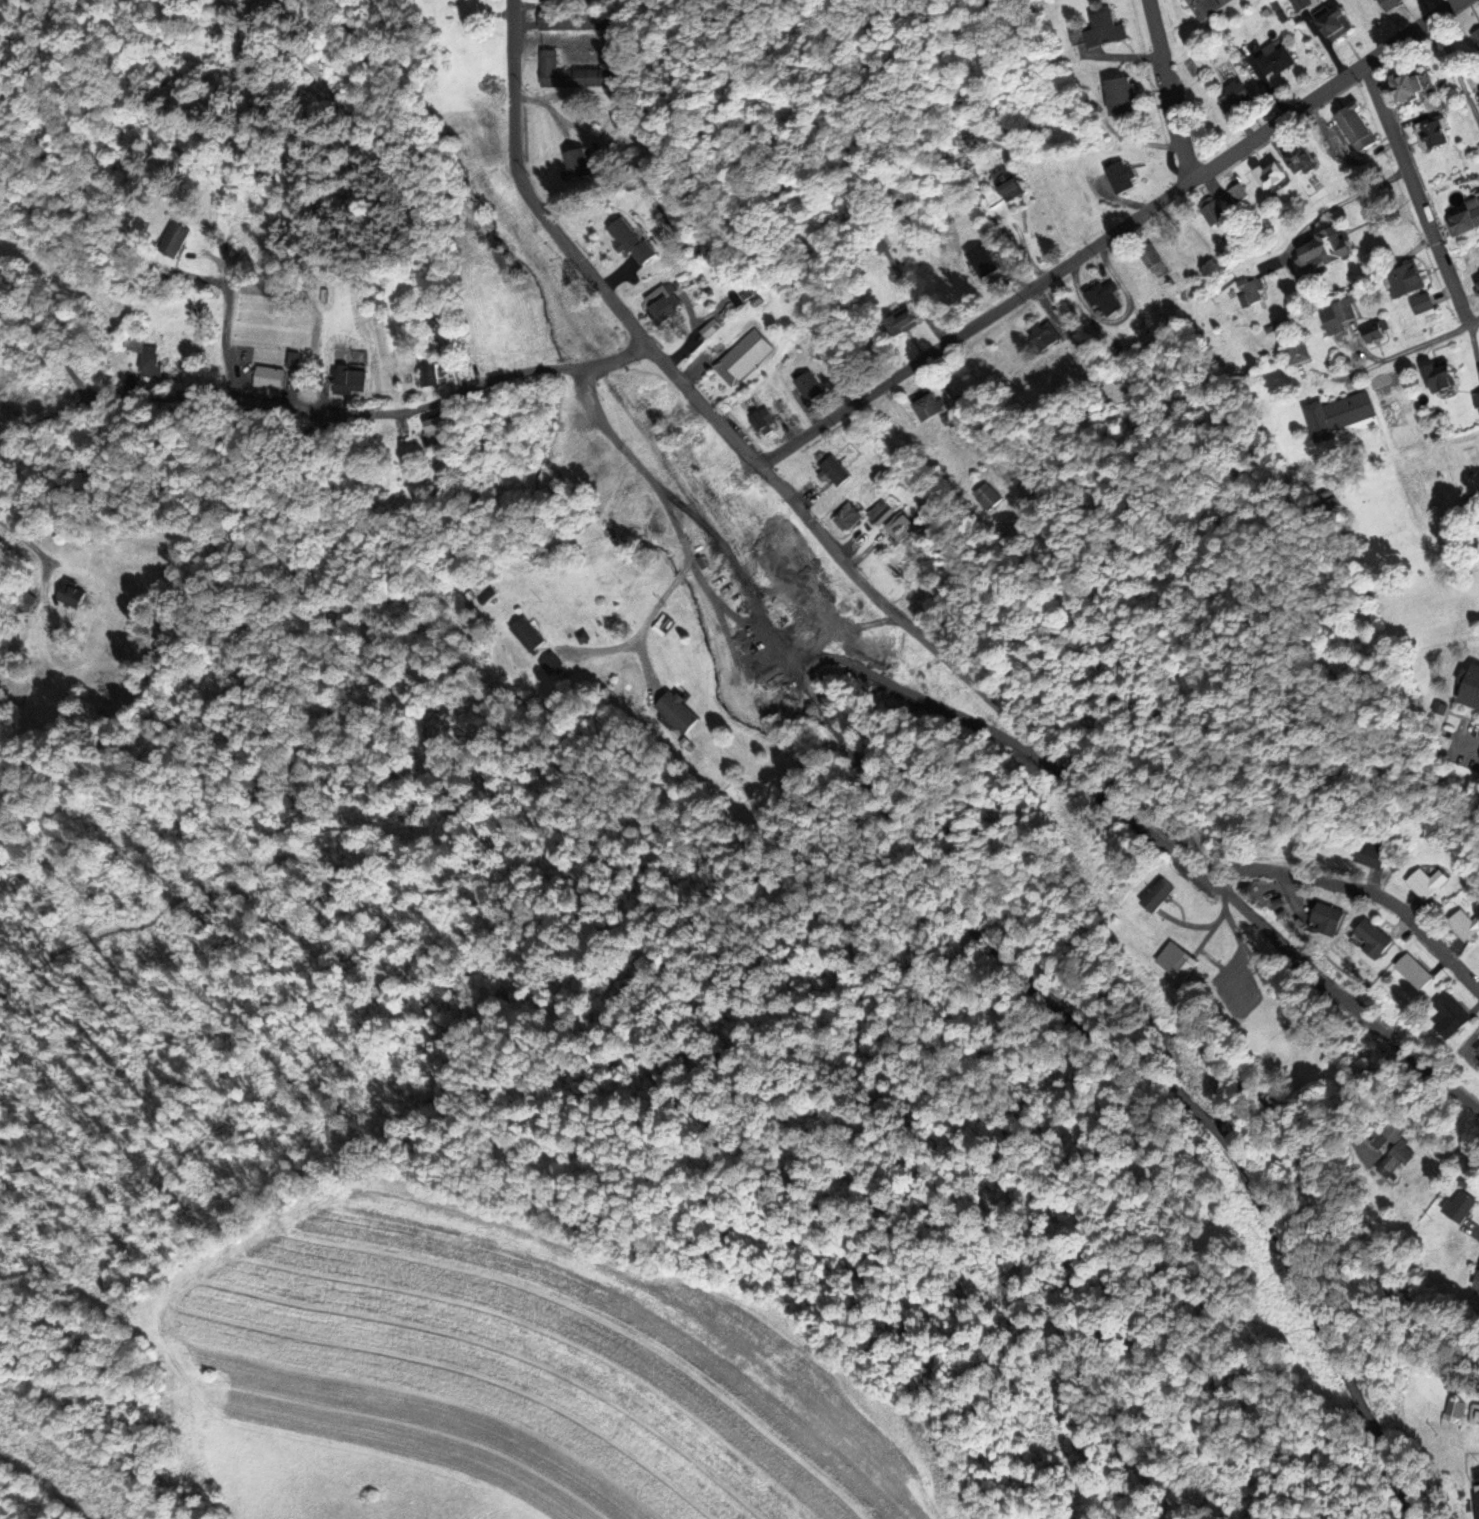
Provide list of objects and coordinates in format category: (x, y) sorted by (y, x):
building: (548, 1)
building: (1390, 4)
building: (1211, 7)
building: (579, 20)
building: (1332, 25)
building: (1106, 31)
building: (1476, 38)
building: (1276, 61)
road: (1459, 69)
building: (577, 76)
building: (1410, 88)
road: (1170, 91)
building: (1237, 96)
building: (1124, 98)
building: (626, 118)
building: (1358, 131)
building: (1434, 138)
building: (177, 159)
building: (1303, 162)
building: (577, 164)
building: (1273, 177)
building: (1123, 178)
building: (1008, 186)
road: (1416, 194)
building: (1239, 195)
road: (1353, 200)
building: (1215, 215)
road: (312, 221)
building: (1463, 226)
road: (1111, 236)
building: (176, 242)
road: (199, 246)
building: (1330, 250)
building: (1154, 261)
building: (1408, 282)
building: (1252, 293)
building: (1107, 300)
building: (1423, 305)
building: (663, 306)
building: (1342, 316)
building: (903, 324)
building: (1375, 334)
building: (1046, 335)
road: (1412, 348)
building: (1298, 351)
building: (144, 356)
building: (742, 357)
building: (429, 375)
building: (1442, 377)
building: (349, 381)
building: (810, 387)
building: (1477, 403)
building: (930, 407)
road: (327, 413)
building: (1341, 415)
road: (456, 418)
building: (762, 420)
building: (437, 428)
building: (589, 453)
building: (834, 472)
road: (779, 489)
building: (988, 496)
building: (634, 508)
building: (881, 513)
building: (848, 517)
building: (905, 526)
building: (71, 595)
building: (804, 597)
building: (25, 602)
building: (663, 627)
building: (527, 635)
building: (551, 664)
building: (1471, 693)
building: (677, 713)
building: (1372, 855)
road: (739, 860)
building: (1428, 883)
road: (1365, 894)
building: (1158, 896)
building: (1327, 920)
building: (1465, 926)
building: (1373, 939)
building: (1178, 962)
building: (1414, 972)
road: (1246, 1009)
building: (1452, 1017)
building: (1478, 1052)
building: (1396, 1151)
building: (1461, 1207)
building: (1477, 1284)
building: (1453, 1414)
building: (1475, 1414)
building: (1476, 1492)

